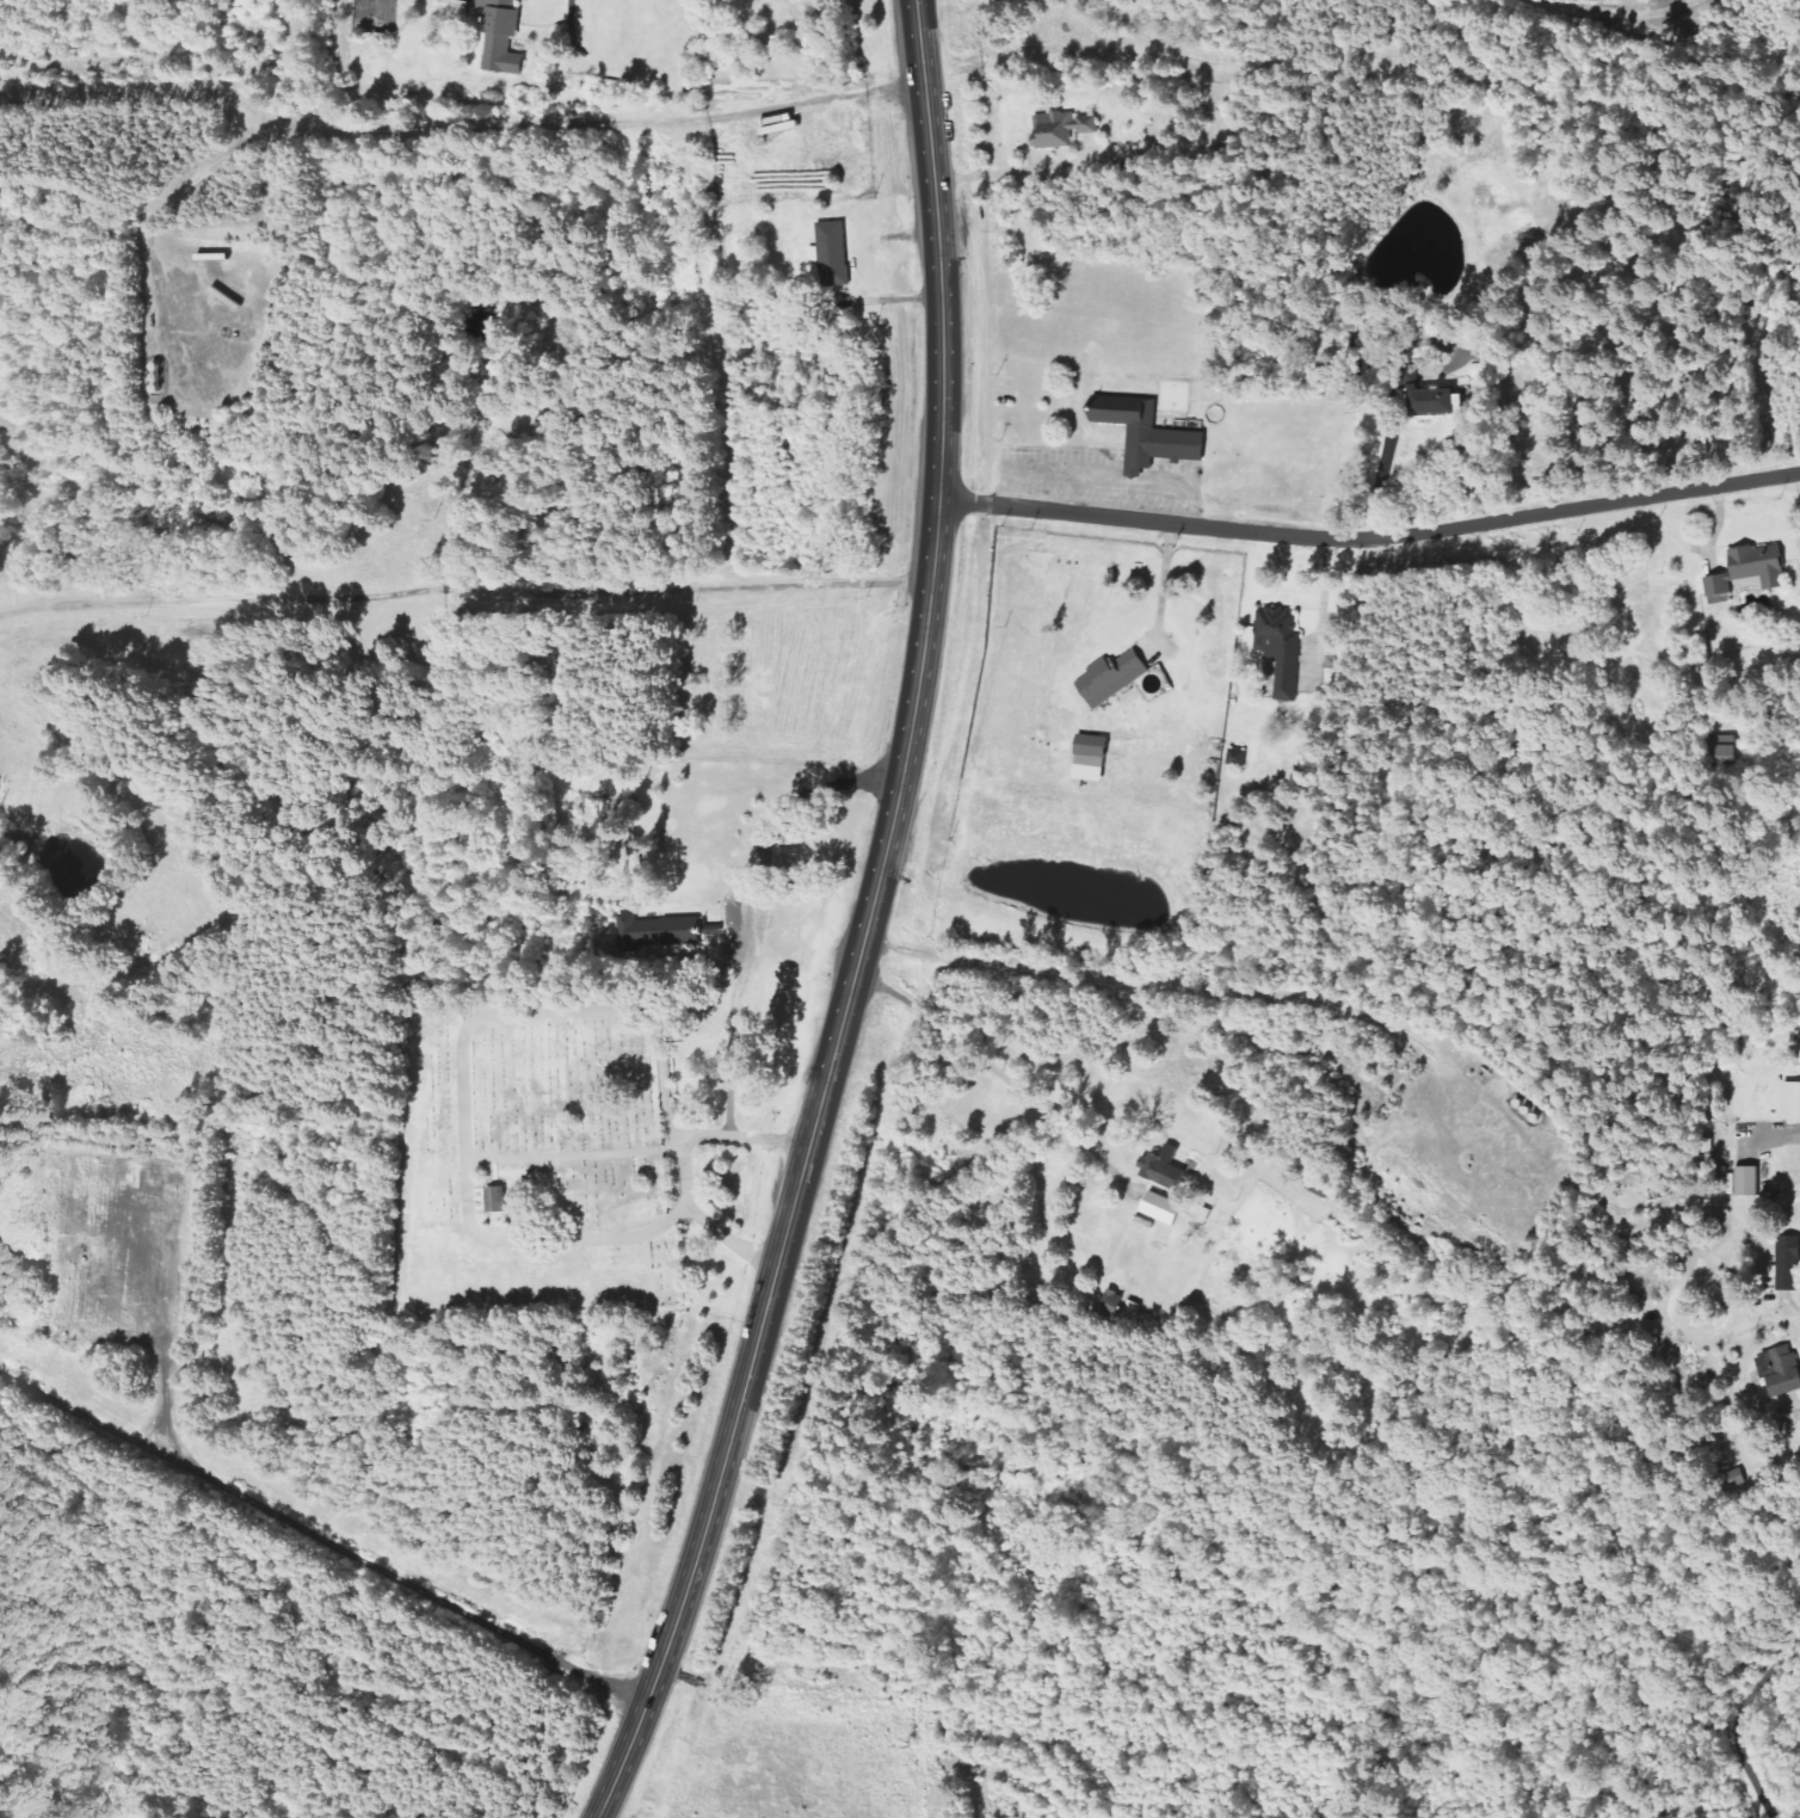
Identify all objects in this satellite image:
building: (503, 37)
building: (1061, 129)
road: (941, 247)
building: (833, 254)
building: (1428, 395)
building: (1151, 436)
road: (1371, 535)
building: (1751, 569)
road: (466, 588)
building: (1282, 647)
building: (1112, 678)
building: (1720, 752)
building: (1091, 758)
building: (659, 933)
building: (1792, 1101)
park: (565, 1146)
road: (803, 1165)
building: (1164, 1167)
building: (1749, 1181)
building: (497, 1198)
building: (1163, 1208)
building: (1202, 1214)
building: (1789, 1263)
road: (1793, 1305)
building: (1781, 1370)
road: (1736, 1719)

